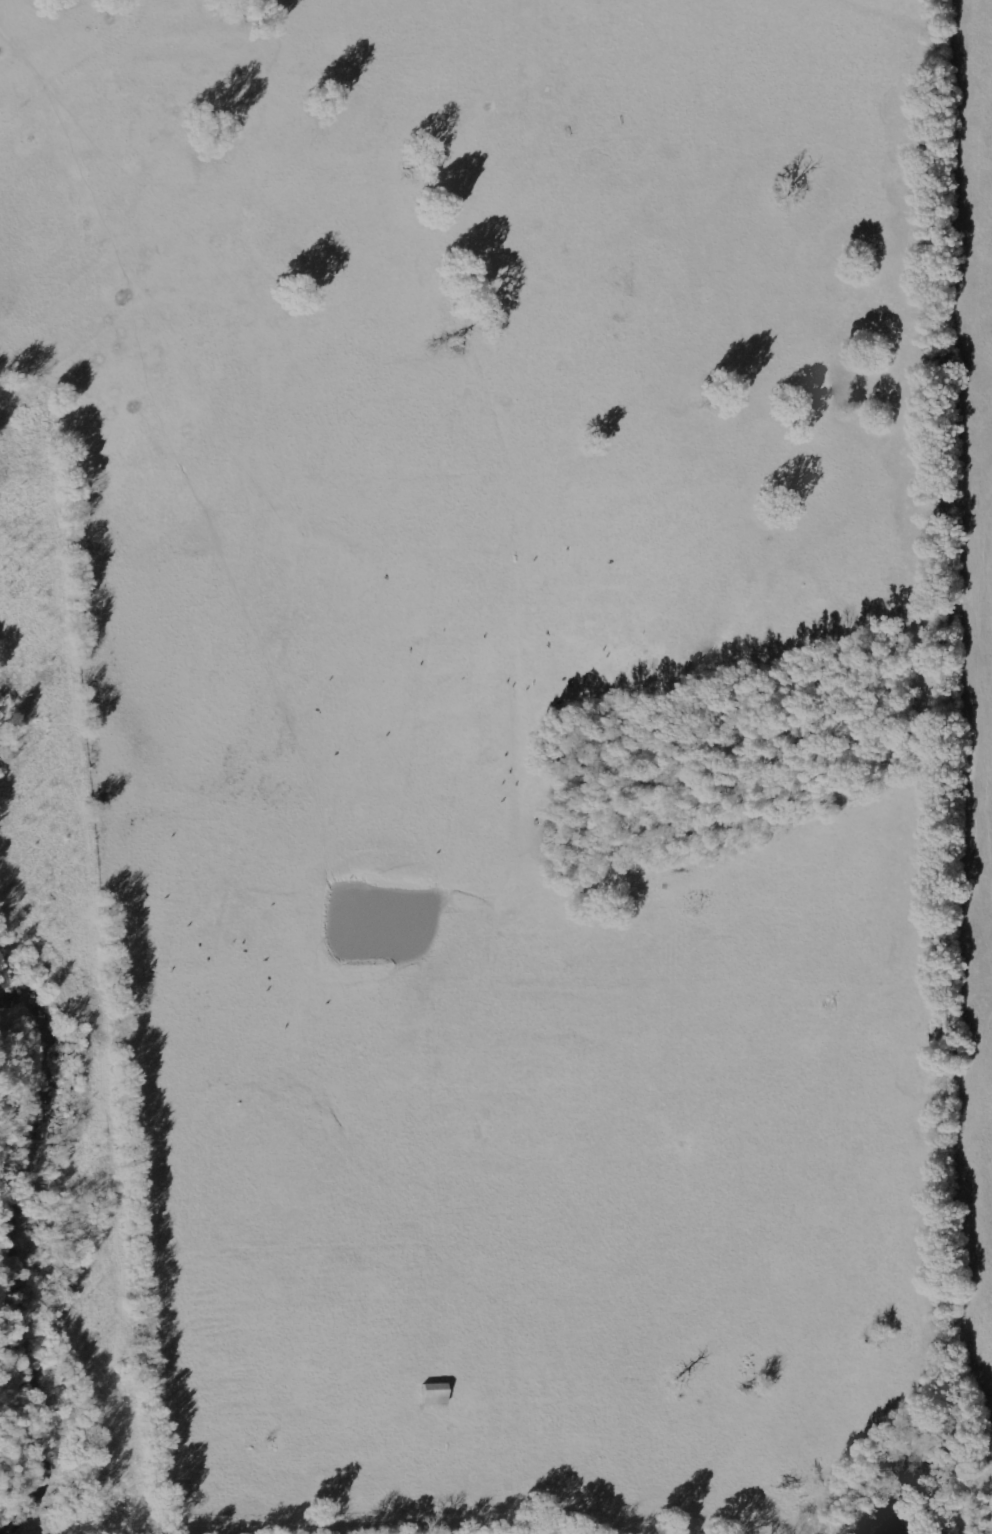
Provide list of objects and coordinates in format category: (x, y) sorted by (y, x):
road: (430, 1528)

